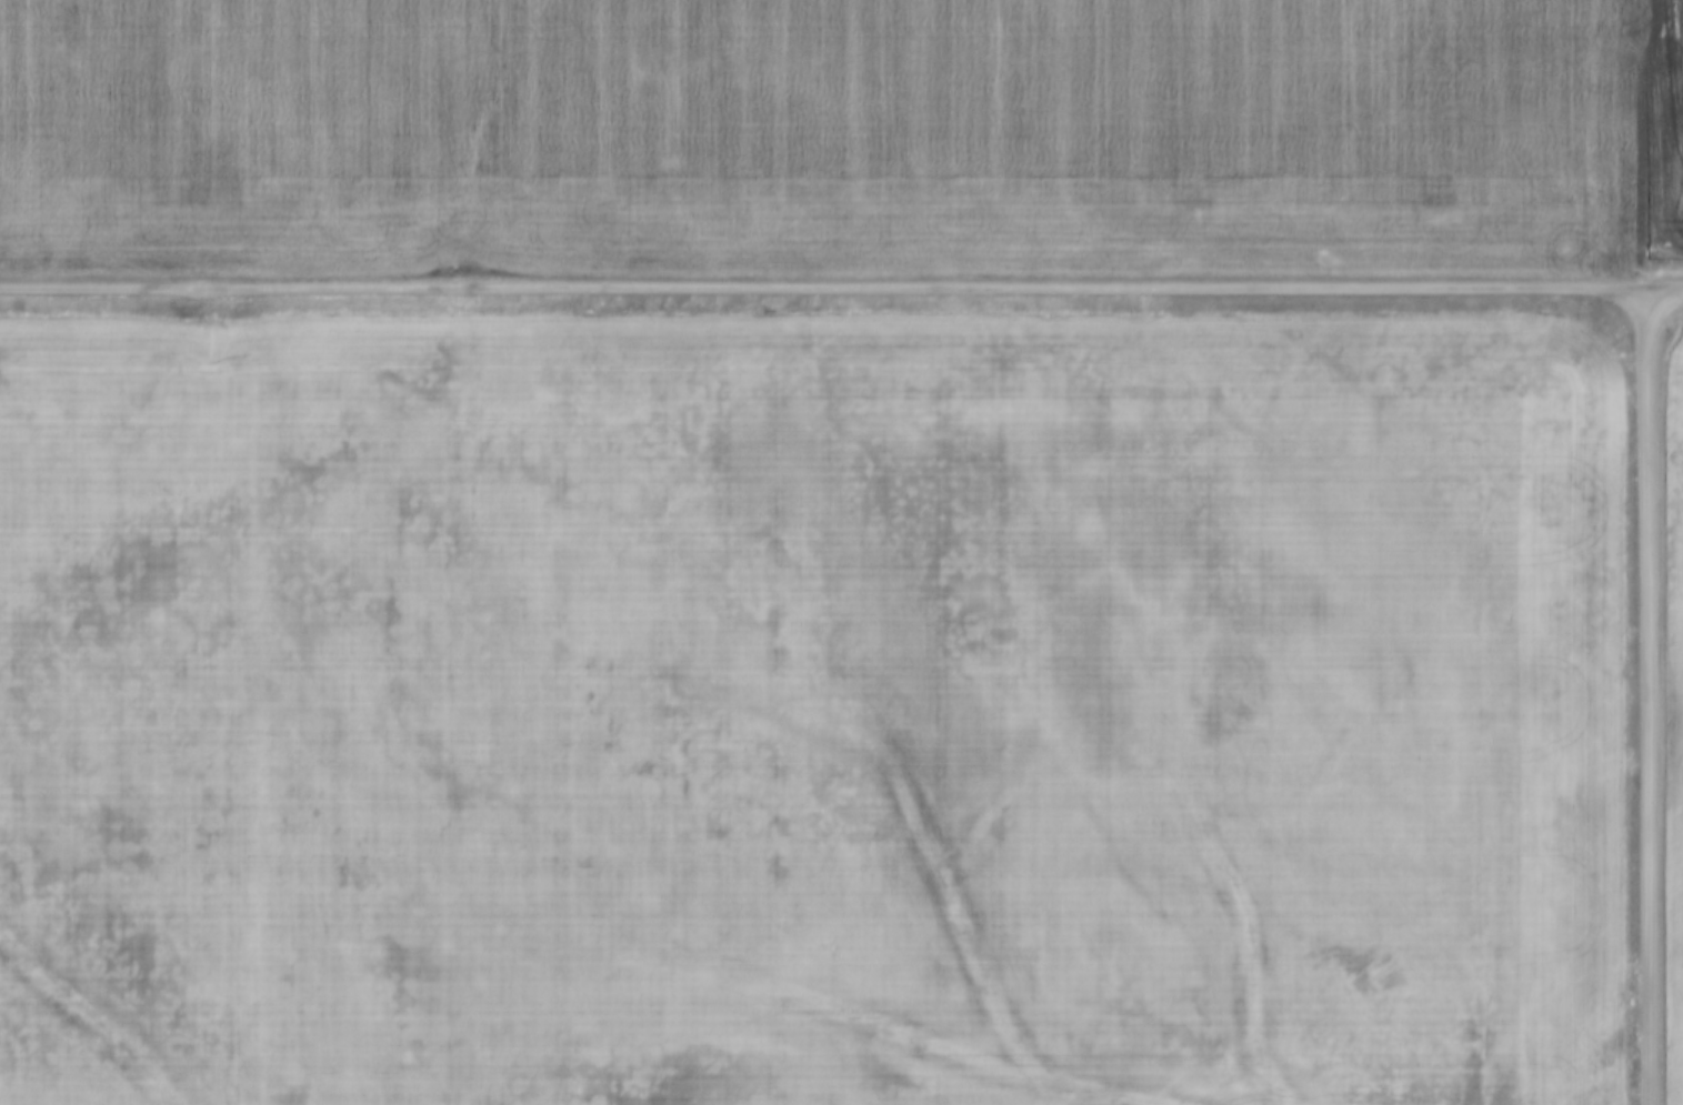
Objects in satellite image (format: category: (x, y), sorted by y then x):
road: (841, 290)
road: (1652, 696)

